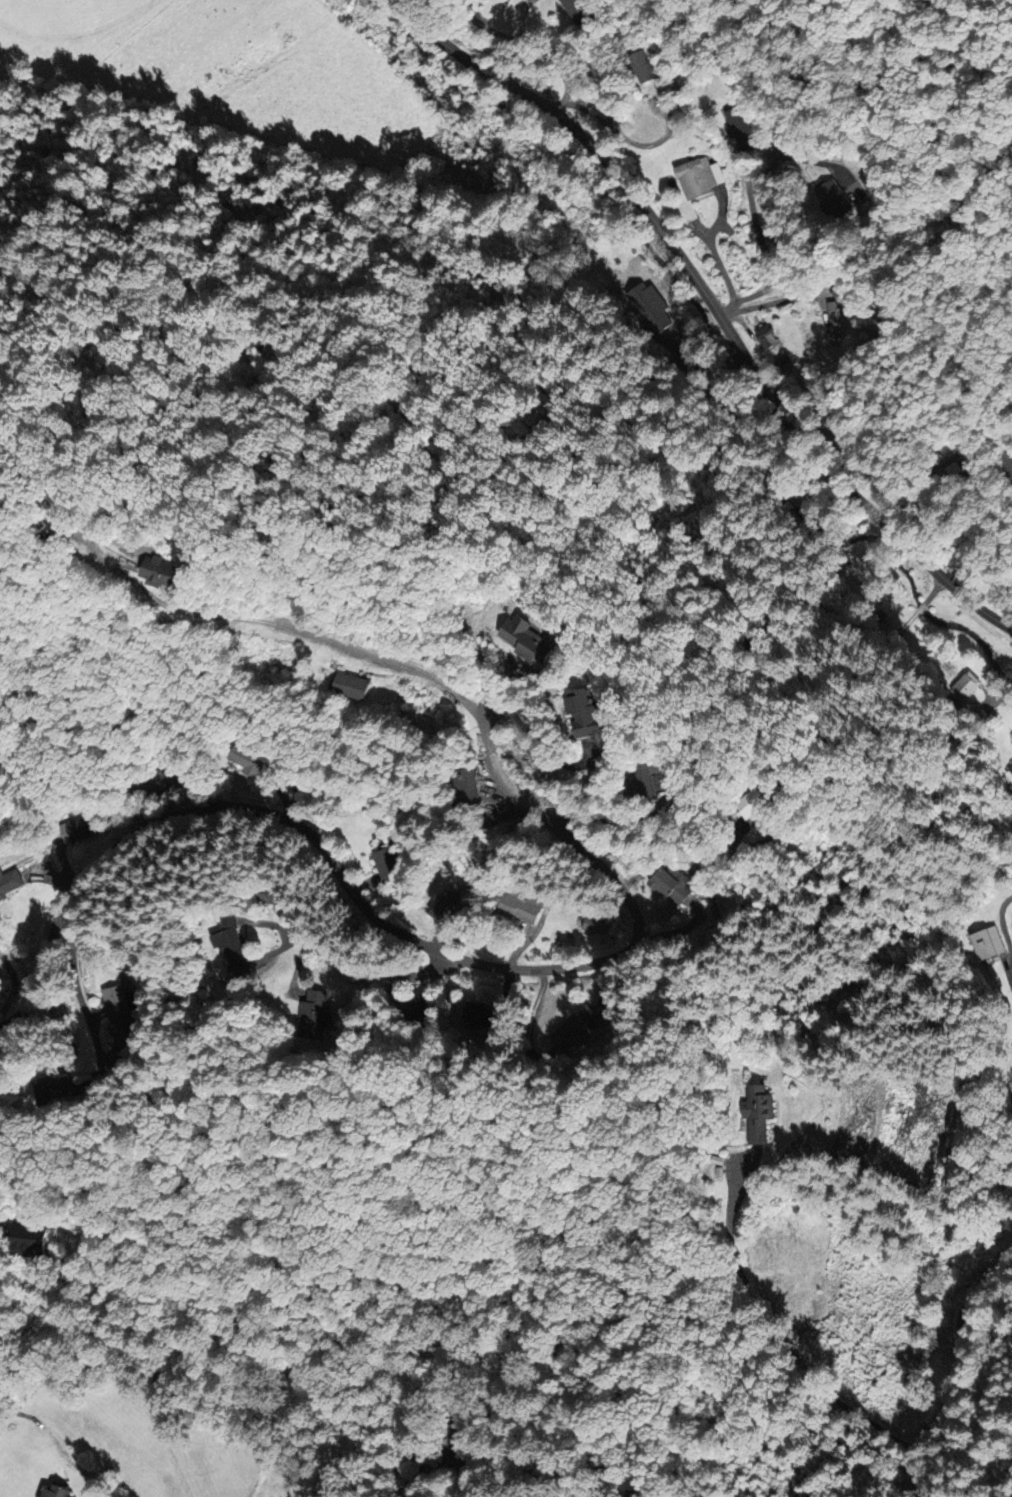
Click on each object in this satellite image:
building: (577, 10)
road: (536, 53)
building: (640, 66)
building: (595, 72)
road: (592, 110)
building: (739, 124)
road: (766, 173)
building: (697, 177)
building: (833, 199)
road: (761, 243)
road: (715, 258)
road: (773, 300)
building: (646, 301)
road: (712, 306)
building: (831, 321)
building: (764, 336)
road: (687, 355)
building: (160, 570)
road: (733, 596)
building: (530, 637)
building: (351, 685)
building: (964, 685)
building: (587, 711)
building: (250, 762)
building: (1008, 773)
building: (643, 780)
building: (466, 785)
building: (754, 803)
road: (635, 819)
building: (81, 826)
building: (386, 864)
building: (9, 882)
building: (670, 884)
building: (275, 894)
building: (515, 903)
building: (445, 905)
building: (593, 924)
building: (230, 939)
building: (986, 942)
road: (492, 965)
road: (365, 975)
road: (11, 977)
road: (78, 998)
building: (412, 1007)
building: (117, 1012)
building: (311, 1014)
building: (478, 1014)
building: (574, 1027)
building: (52, 1089)
building: (757, 1112)
building: (28, 1240)
road: (853, 1411)
road: (425, 1427)
building: (55, 1492)

